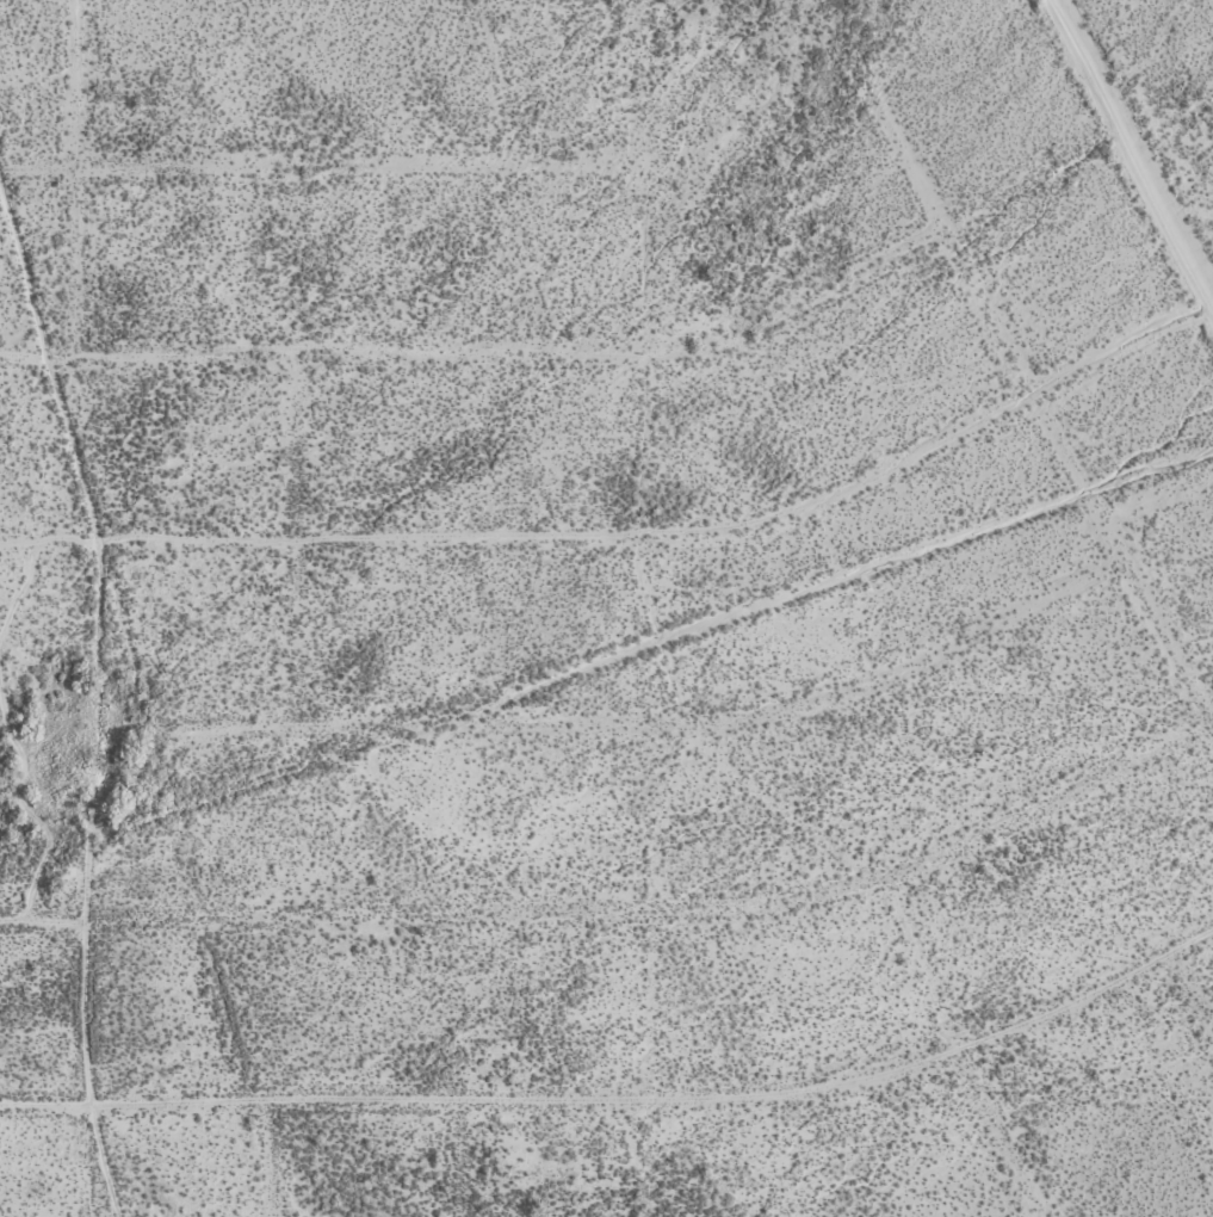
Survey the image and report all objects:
road: (1133, 147)
road: (322, 166)
road: (79, 178)
road: (487, 353)
road: (1040, 401)
road: (635, 532)
road: (299, 560)
road: (646, 607)
road: (626, 650)
road: (137, 679)
road: (95, 690)
road: (581, 724)
road: (626, 907)
road: (60, 946)
road: (1190, 988)
road: (959, 1051)
road: (623, 1094)
road: (456, 1156)
road: (267, 1157)

